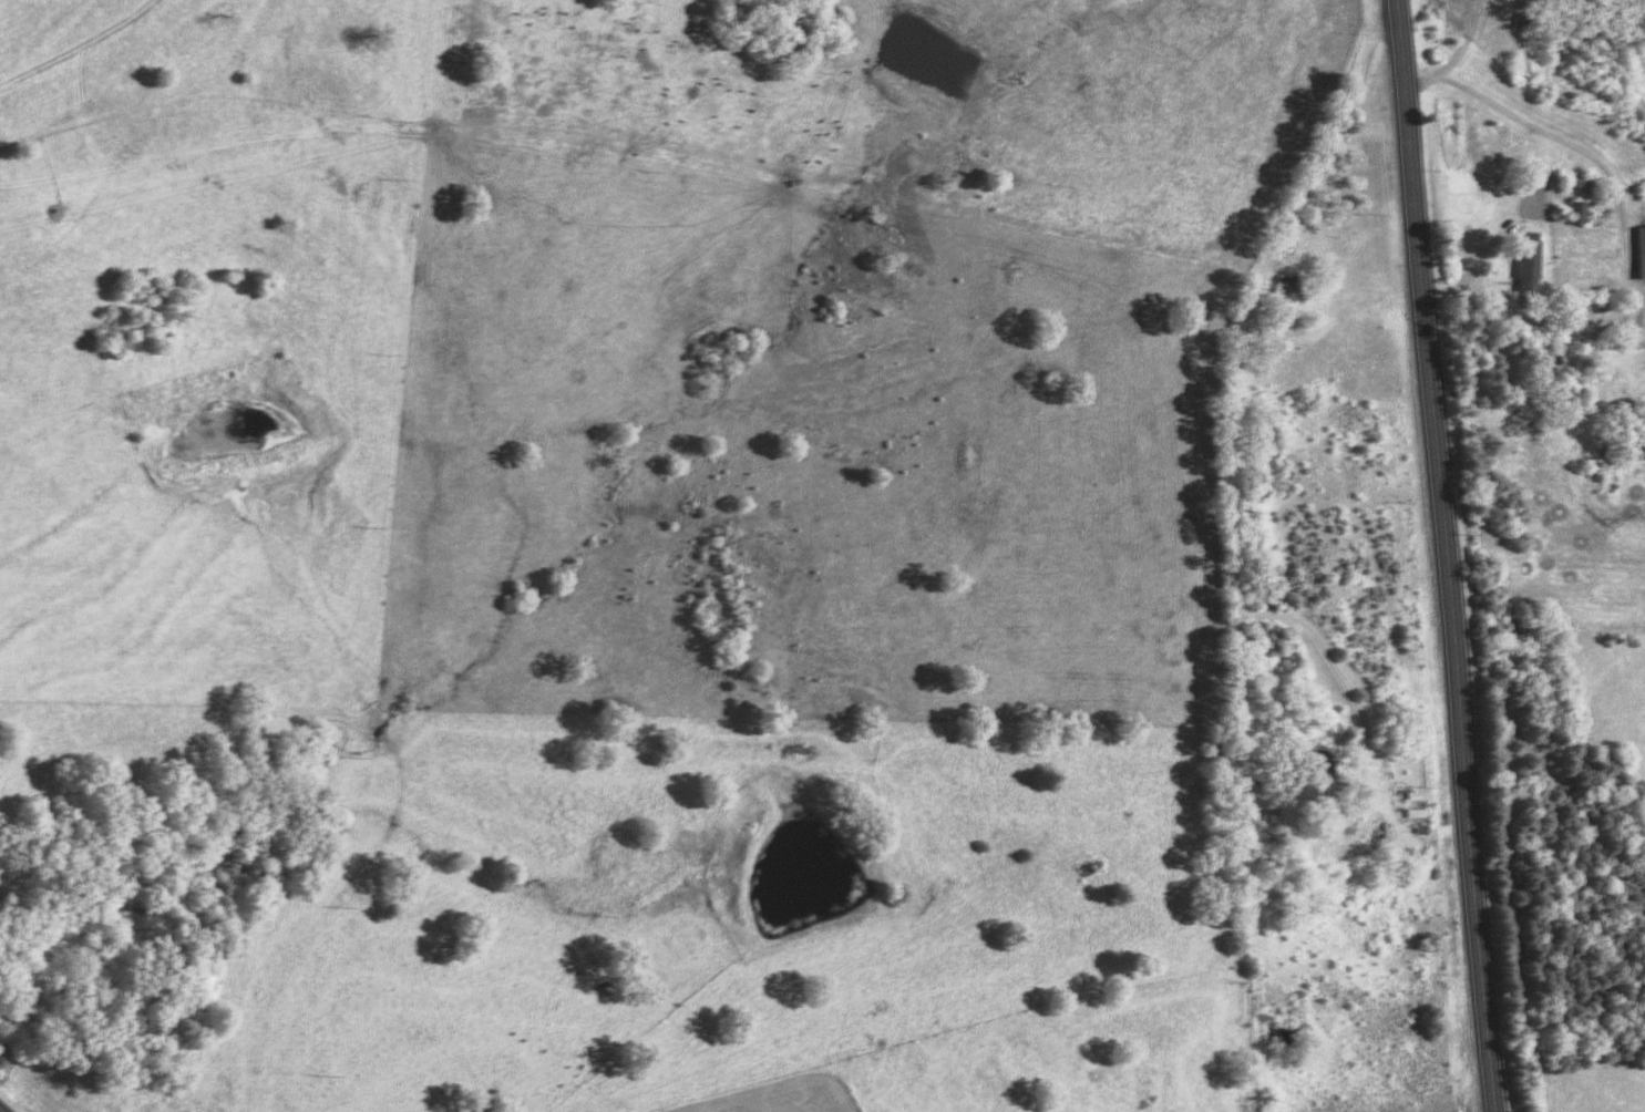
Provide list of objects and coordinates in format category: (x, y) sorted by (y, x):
building: (1573, 184)
building: (1580, 216)
building: (1638, 254)
building: (1523, 265)
building: (1282, 291)
road: (1447, 556)
building: (1316, 764)

